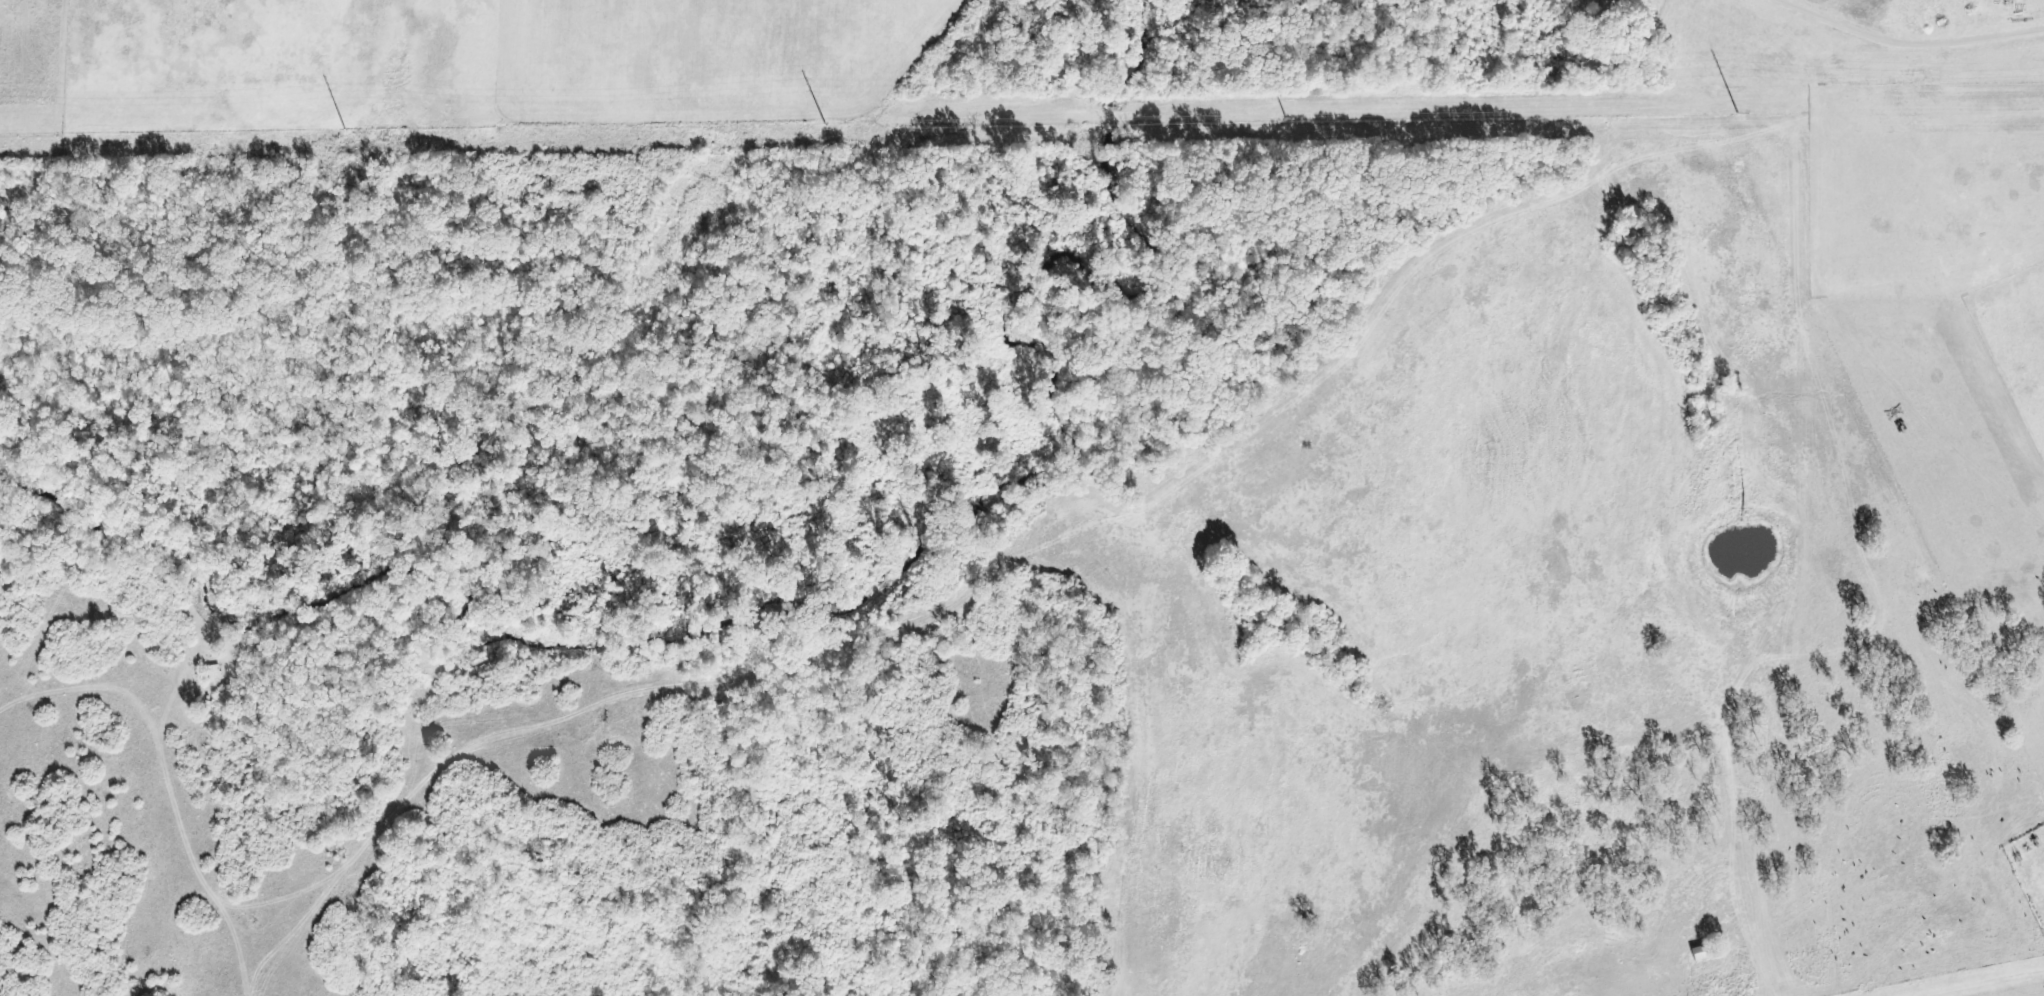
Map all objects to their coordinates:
power tower: (1737, 113)
power tower: (1287, 118)
power tower: (824, 124)
power tower: (346, 129)

